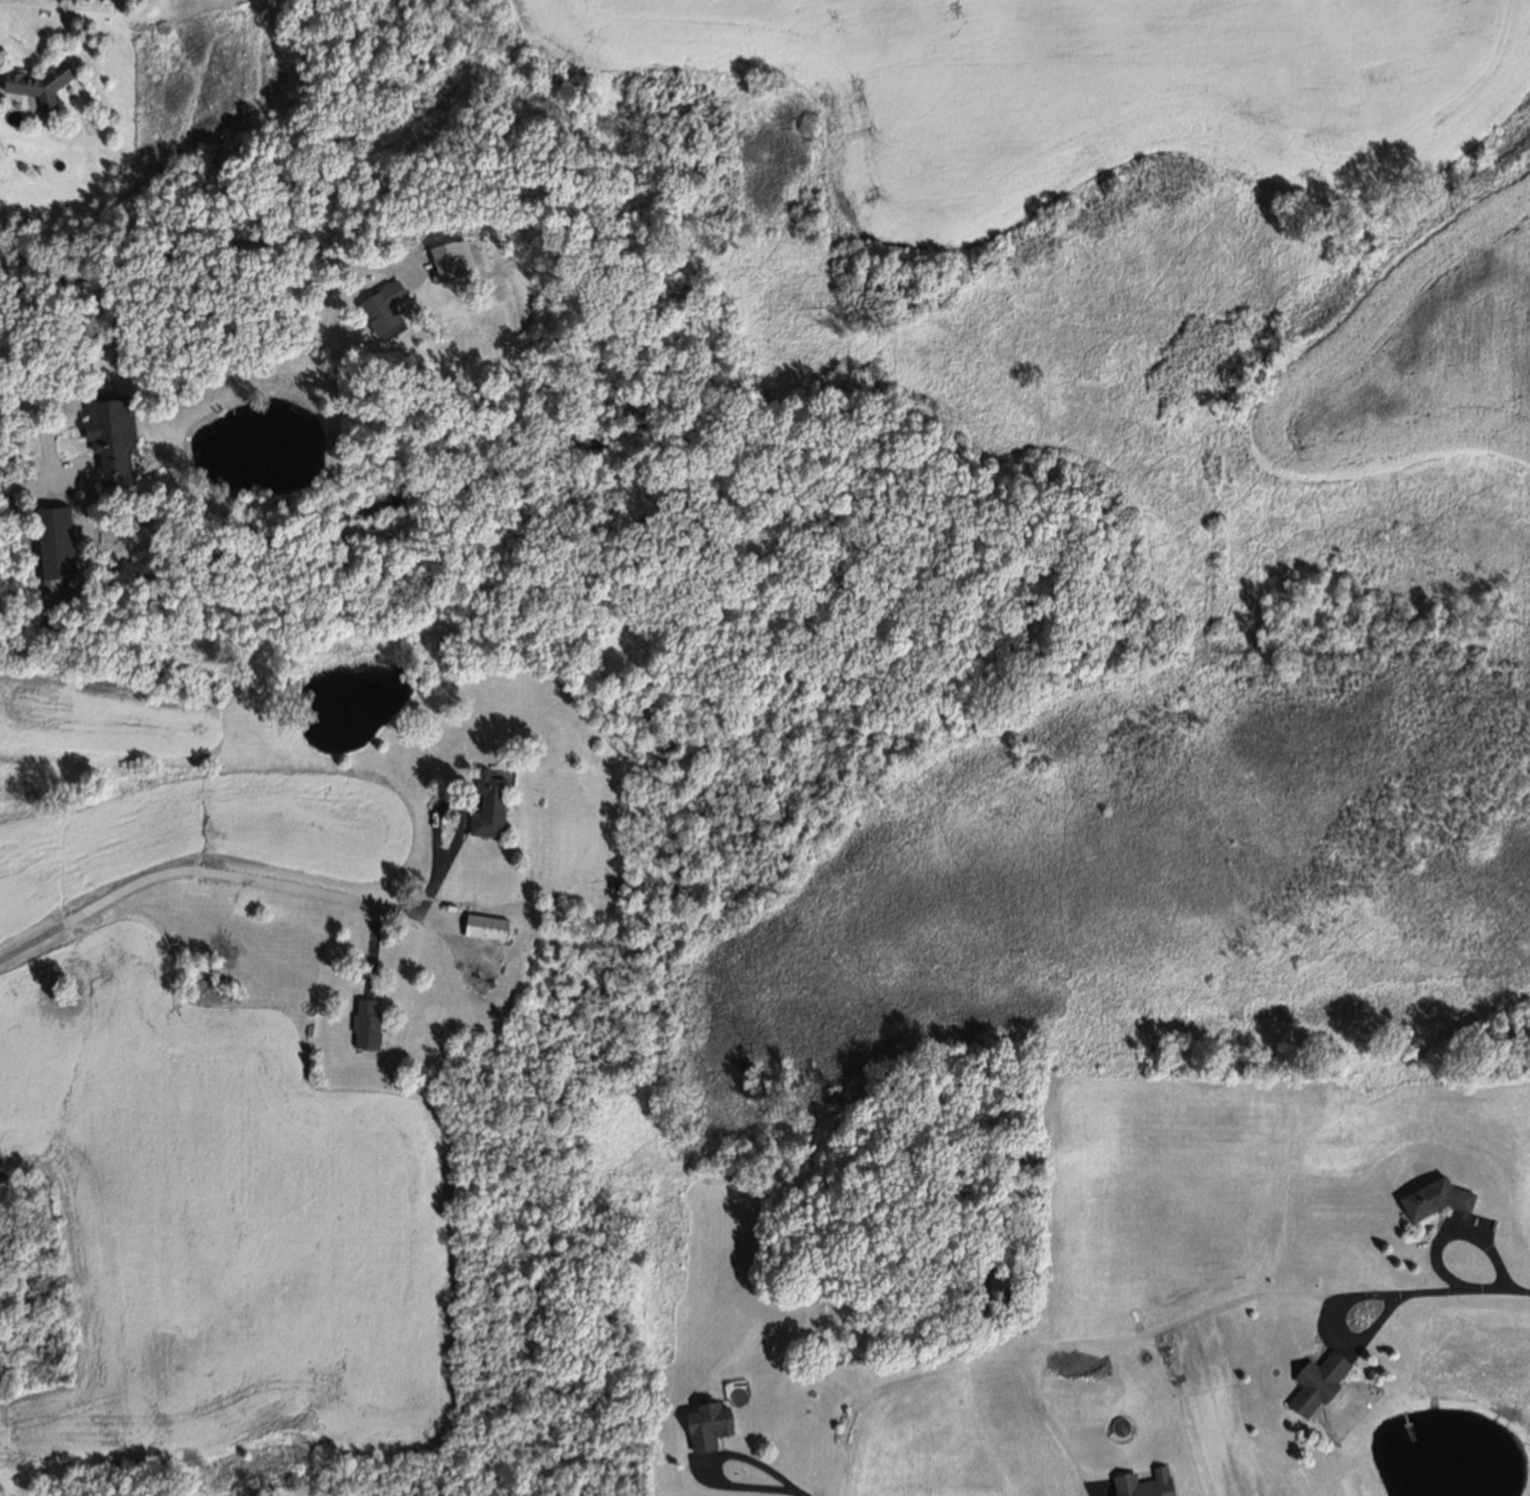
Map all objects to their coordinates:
building: (38, 84)
road: (192, 239)
building: (449, 259)
building: (380, 303)
building: (104, 432)
road: (48, 450)
building: (47, 546)
building: (490, 806)
road: (232, 875)
building: (487, 927)
building: (367, 1025)
building: (1436, 1199)
road: (1455, 1230)
road: (1462, 1289)
road: (1334, 1329)
building: (1317, 1384)
building: (709, 1426)
road: (702, 1461)
building: (1145, 1484)
road: (1089, 1490)
road: (798, 1491)

